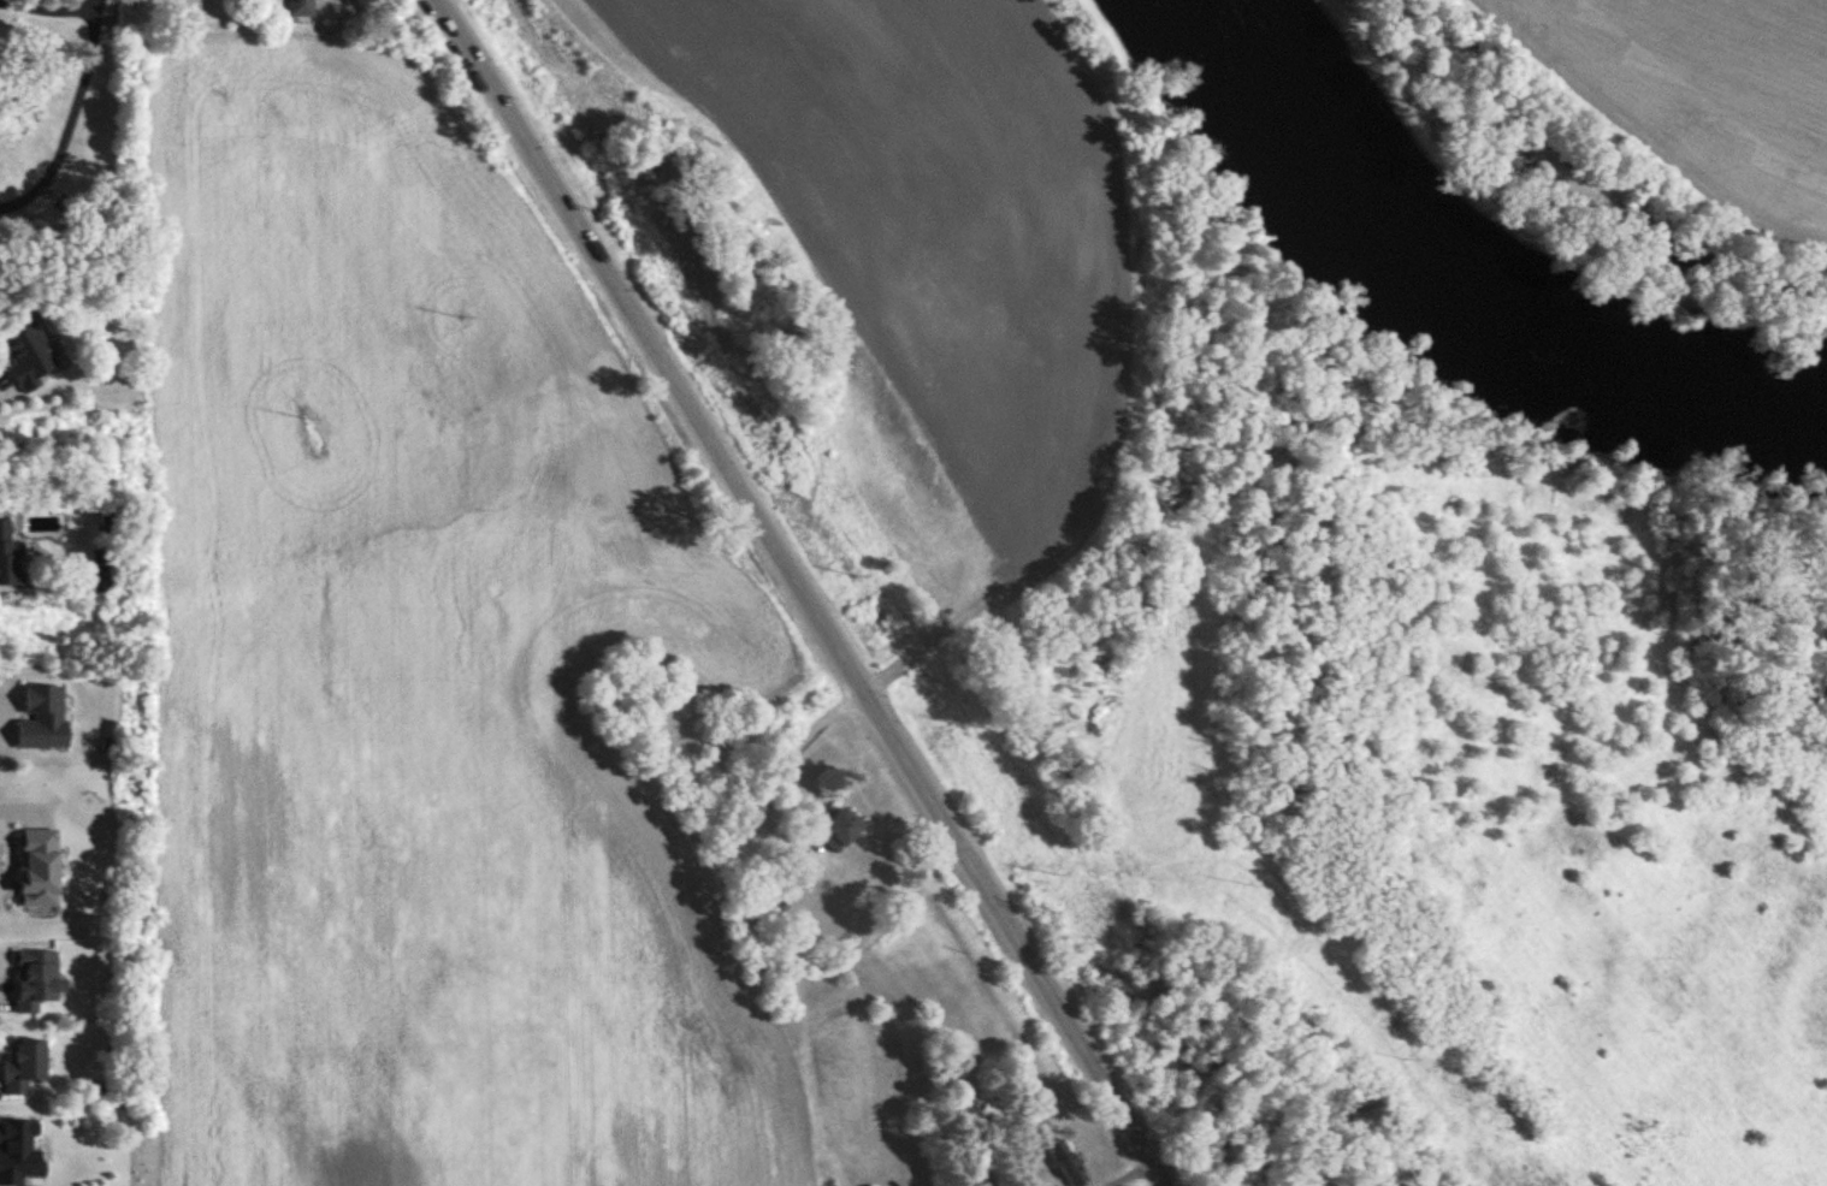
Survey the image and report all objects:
building: (304, 7)
road: (46, 10)
park: (64, 118)
road: (72, 118)
park: (1657, 129)
river: (1465, 296)
building: (28, 352)
building: (11, 557)
road: (794, 583)
road: (791, 753)
building: (844, 828)
building: (1072, 1166)
road: (1155, 1176)

